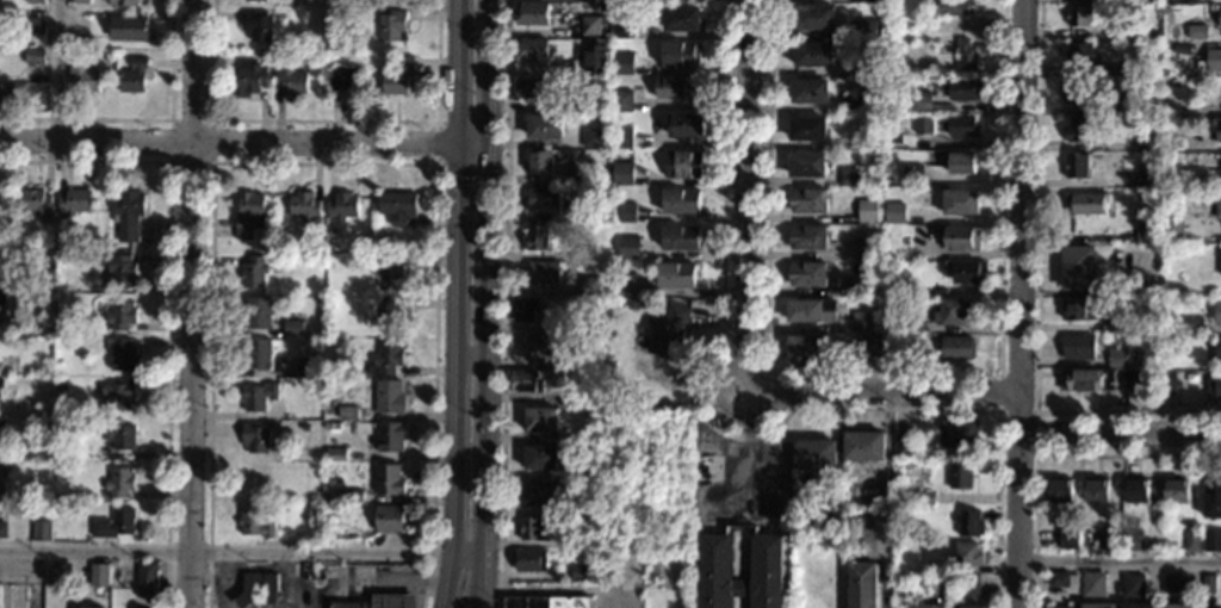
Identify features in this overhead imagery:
building: (255, 0)
building: (601, 0)
building: (626, 0)
building: (1166, 0)
building: (35, 1)
building: (79, 1)
building: (861, 1)
building: (1142, 1)
building: (124, 2)
building: (954, 7)
building: (1164, 10)
building: (333, 11)
building: (532, 14)
building: (928, 14)
building: (1078, 15)
building: (1219, 17)
building: (814, 18)
building: (681, 19)
building: (35, 24)
building: (78, 25)
building: (392, 25)
building: (590, 25)
building: (258, 26)
building: (129, 27)
building: (621, 29)
building: (864, 29)
building: (1122, 31)
building: (1196, 32)
building: (1198, 48)
building: (531, 50)
building: (264, 52)
building: (680, 54)
building: (1081, 54)
building: (813, 55)
building: (965, 55)
building: (33, 56)
building: (106, 56)
building: (595, 57)
building: (1220, 60)
building: (622, 64)
building: (866, 66)
building: (564, 67)
road: (55, 68)
building: (1121, 73)
building: (83, 76)
building: (135, 76)
building: (249, 77)
building: (397, 77)
building: (343, 79)
building: (290, 81)
building: (675, 87)
building: (529, 88)
building: (962, 89)
building: (808, 91)
building: (1079, 92)
building: (7, 93)
building: (620, 101)
building: (919, 101)
building: (849, 103)
building: (1112, 107)
building: (1171, 111)
road: (145, 120)
road: (212, 120)
road: (324, 120)
building: (922, 125)
building: (544, 126)
building: (686, 126)
building: (961, 126)
building: (806, 129)
building: (1079, 129)
building: (1219, 129)
building: (893, 135)
building: (621, 137)
building: (591, 138)
building: (867, 138)
road: (436, 141)
building: (1172, 142)
road: (243, 143)
building: (1146, 144)
road: (323, 161)
building: (539, 162)
building: (959, 162)
building: (683, 163)
building: (806, 165)
building: (1076, 166)
building: (600, 169)
building: (581, 173)
building: (622, 174)
building: (911, 174)
building: (848, 176)
building: (1146, 178)
building: (1198, 180)
road: (743, 191)
building: (1141, 197)
building: (541, 199)
building: (808, 200)
building: (680, 201)
building: (960, 201)
building: (36, 203)
building: (73, 203)
building: (1086, 204)
building: (1217, 205)
building: (342, 206)
building: (398, 206)
building: (305, 207)
building: (867, 211)
building: (626, 212)
building: (247, 213)
building: (893, 213)
building: (128, 215)
building: (570, 215)
building: (1171, 227)
building: (1145, 232)
building: (534, 237)
building: (807, 237)
building: (681, 238)
building: (962, 238)
building: (61, 246)
building: (1, 247)
building: (627, 248)
building: (864, 248)
building: (571, 255)
building: (1220, 263)
building: (1077, 267)
building: (118, 271)
building: (255, 271)
building: (388, 272)
building: (968, 272)
building: (541, 273)
building: (676, 274)
building: (806, 274)
building: (16, 284)
building: (627, 284)
building: (589, 285)
building: (854, 287)
building: (55, 289)
building: (909, 290)
building: (1216, 293)
road: (1035, 297)
road: (167, 299)
building: (1, 300)
road: (502, 303)
road: (192, 304)
road: (455, 304)
road: (485, 304)
road: (1021, 304)
building: (522, 308)
building: (1079, 309)
building: (810, 310)
building: (947, 311)
building: (388, 312)
building: (1217, 312)
building: (255, 314)
building: (120, 315)
building: (862, 322)
building: (1116, 323)
building: (547, 324)
building: (916, 325)
building: (1192, 325)
building: (292, 328)
building: (667, 331)
building: (1151, 339)
building: (1, 341)
building: (866, 343)
building: (895, 345)
building: (545, 347)
building: (1078, 347)
building: (957, 348)
building: (804, 350)
building: (1213, 350)
building: (256, 353)
building: (120, 354)
building: (385, 358)
building: (1117, 358)
building: (326, 364)
building: (1217, 366)
building: (0, 367)
road: (731, 367)
building: (305, 368)
road: (881, 372)
building: (1089, 379)
building: (523, 380)
building: (1165, 381)
building: (1151, 383)
building: (1, 384)
building: (58, 386)
building: (1213, 386)
road: (884, 391)
building: (117, 395)
building: (579, 395)
building: (256, 396)
building: (388, 396)
building: (1138, 397)
road: (718, 407)
road: (1002, 409)
building: (347, 412)
building: (539, 418)
building: (304, 427)
building: (0, 430)
building: (959, 433)
building: (118, 434)
building: (254, 436)
building: (390, 436)
road: (1121, 436)
road: (735, 438)
building: (863, 445)
building: (904, 445)
building: (336, 454)
building: (814, 454)
road: (1049, 454)
building: (45, 455)
building: (62, 455)
building: (540, 458)
road: (748, 459)
building: (705, 469)
building: (579, 470)
building: (311, 471)
building: (959, 474)
building: (255, 479)
building: (388, 480)
building: (119, 482)
building: (929, 482)
building: (1, 488)
building: (1059, 490)
building: (1096, 490)
building: (1135, 490)
building: (1174, 490)
building: (540, 495)
building: (352, 496)
building: (1211, 497)
building: (924, 498)
building: (581, 504)
building: (327, 509)
building: (389, 519)
building: (969, 522)
building: (114, 523)
building: (254, 523)
building: (863, 525)
building: (533, 528)
building: (2, 529)
building: (41, 531)
building: (579, 536)
building: (1068, 539)
building: (1133, 540)
building: (1211, 540)
building: (1109, 541)
building: (1191, 541)
road: (241, 552)
road: (739, 554)
building: (966, 554)
building: (527, 559)
road: (1120, 560)
building: (936, 569)
building: (715, 570)
building: (766, 571)
building: (579, 572)
building: (98, 575)
building: (147, 578)
building: (1061, 579)
road: (884, 583)
building: (1173, 583)
building: (1208, 583)
building: (1092, 584)
building: (862, 585)
building: (944, 585)
building: (968, 585)
building: (1133, 585)
building: (258, 589)
road: (557, 589)
building: (392, 601)
building: (546, 602)
building: (348, 604)
building: (925, 606)
building: (1098, 606)
building: (1136, 606)
building: (1178, 606)
building: (85, 607)
road: (478, 607)
building: (971, 607)
building: (1060, 607)

